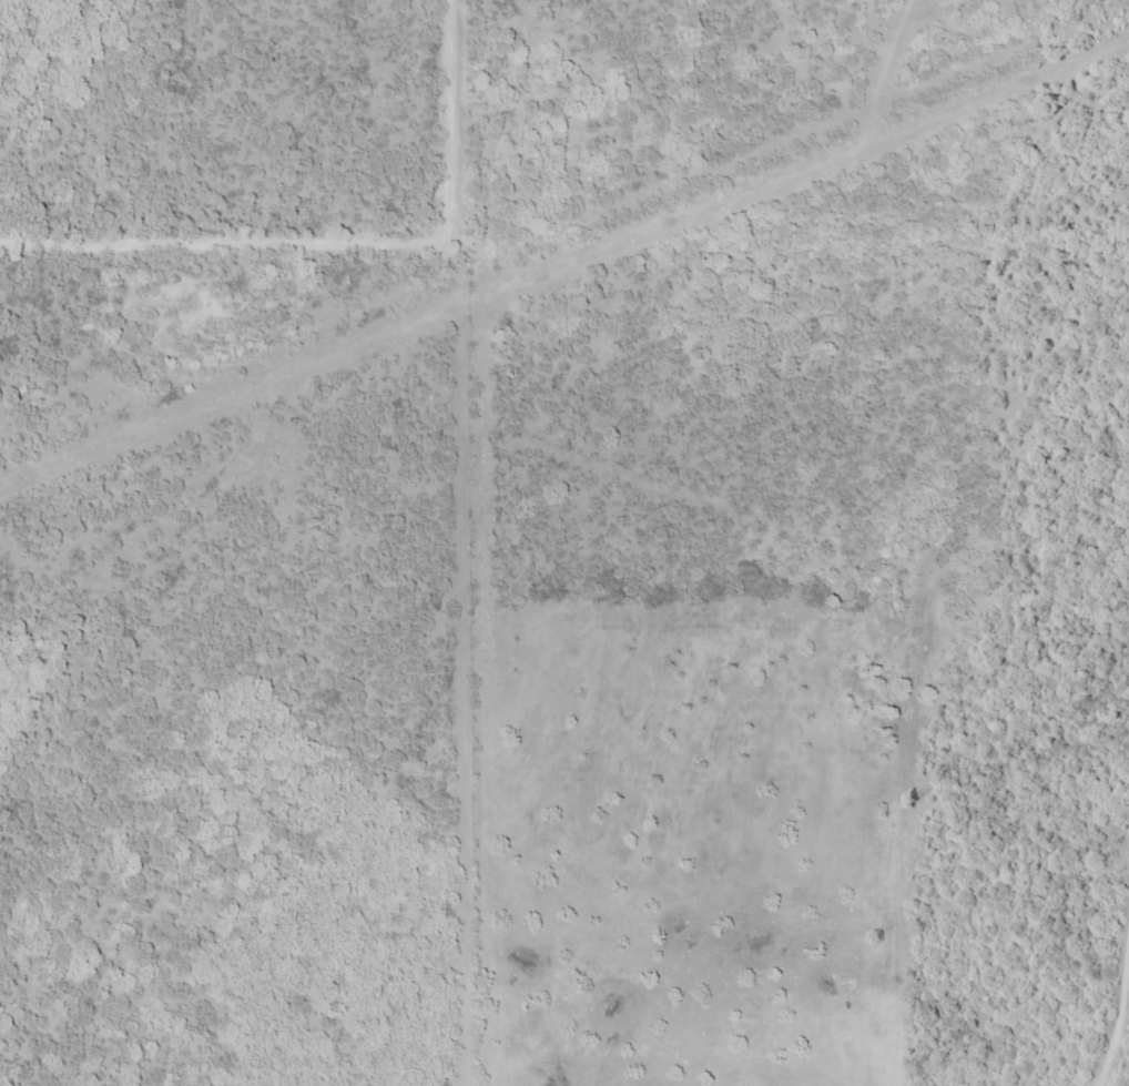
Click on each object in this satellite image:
road: (1113, 1026)

